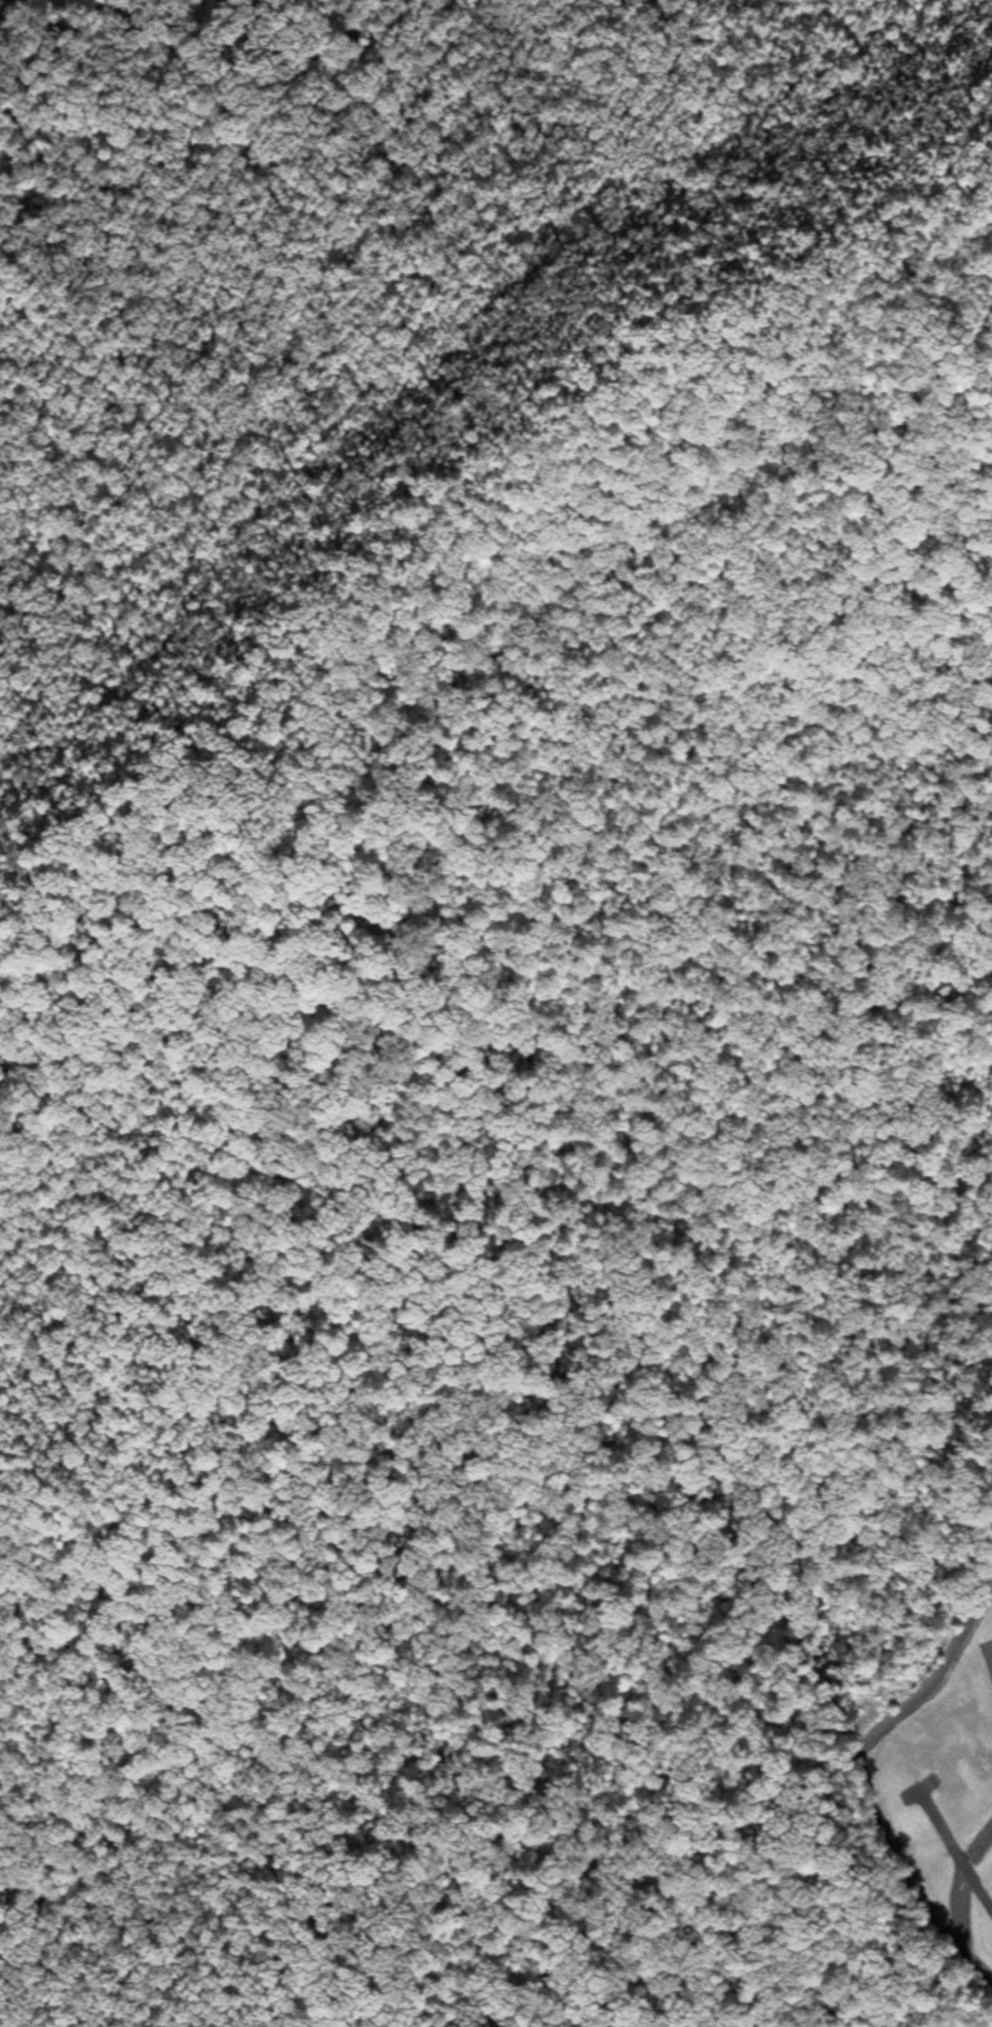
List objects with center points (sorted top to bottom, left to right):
road: (553, 660)

